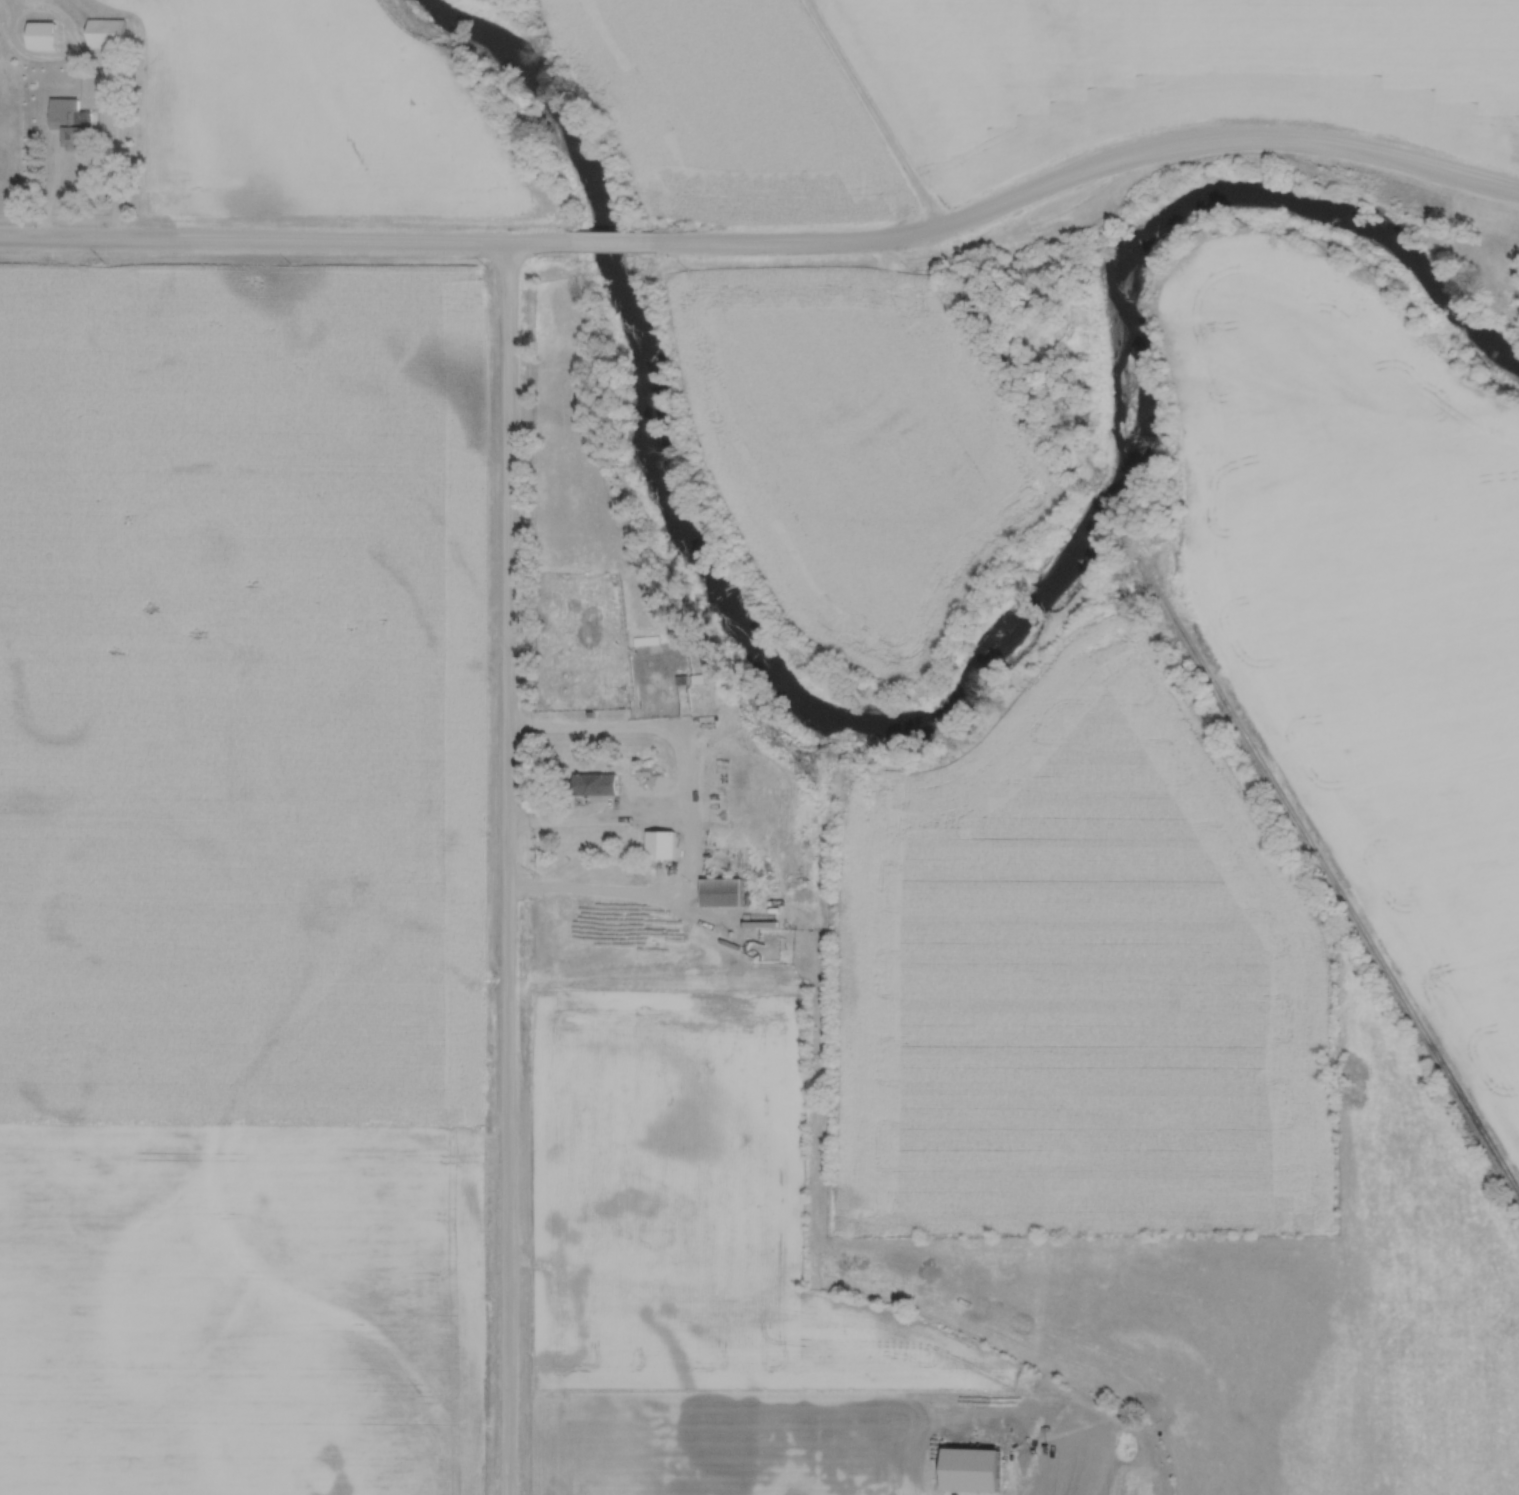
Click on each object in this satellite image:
road: (6, 32)
building: (106, 33)
building: (41, 35)
building: (70, 129)
road: (118, 135)
road: (1087, 166)
road: (285, 242)
road: (615, 246)
river: (960, 700)
road: (629, 726)
building: (595, 783)
building: (661, 844)
road: (692, 848)
road: (514, 869)
building: (721, 891)

